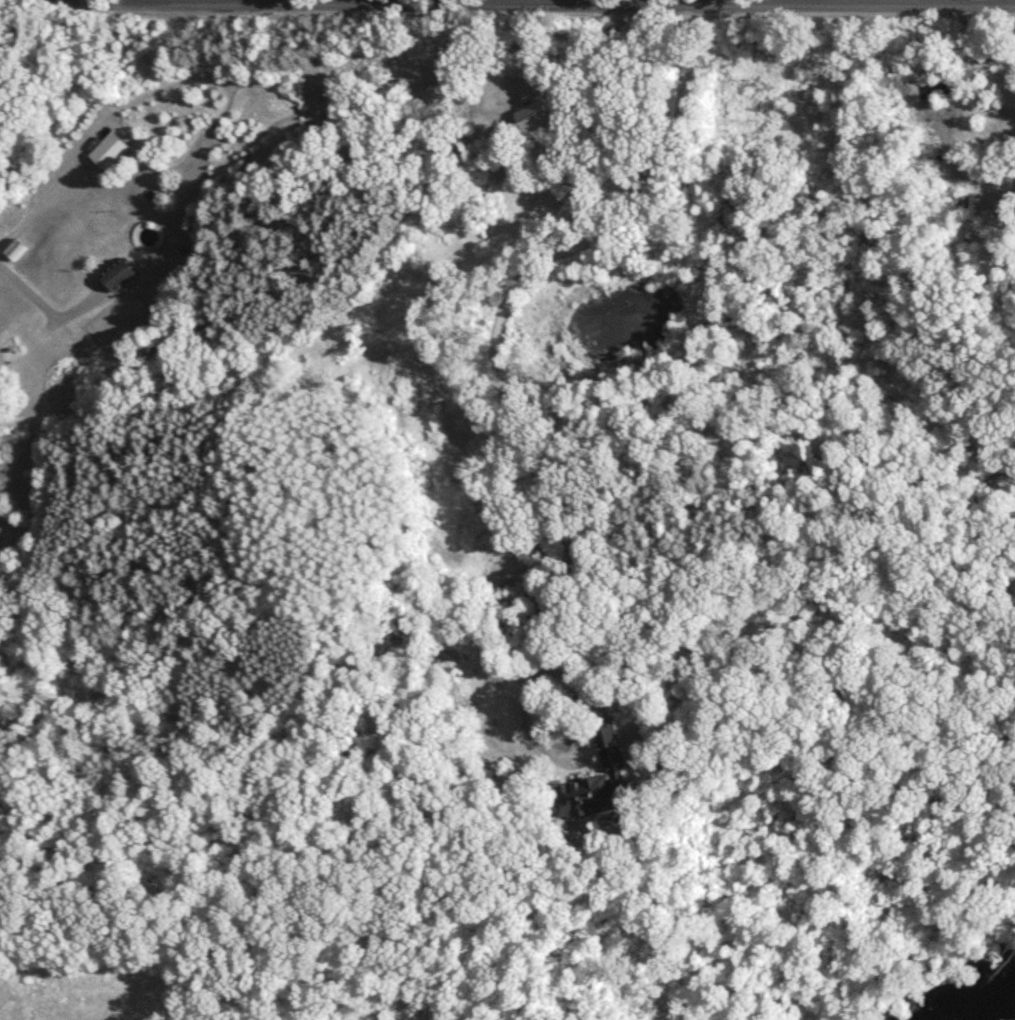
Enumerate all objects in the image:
road: (977, 2)
road: (565, 3)
building: (948, 85)
building: (536, 116)
building: (110, 151)
building: (962, 202)
building: (973, 237)
building: (15, 251)
building: (121, 275)
road: (47, 308)
road: (498, 373)
building: (597, 781)
river: (947, 990)

